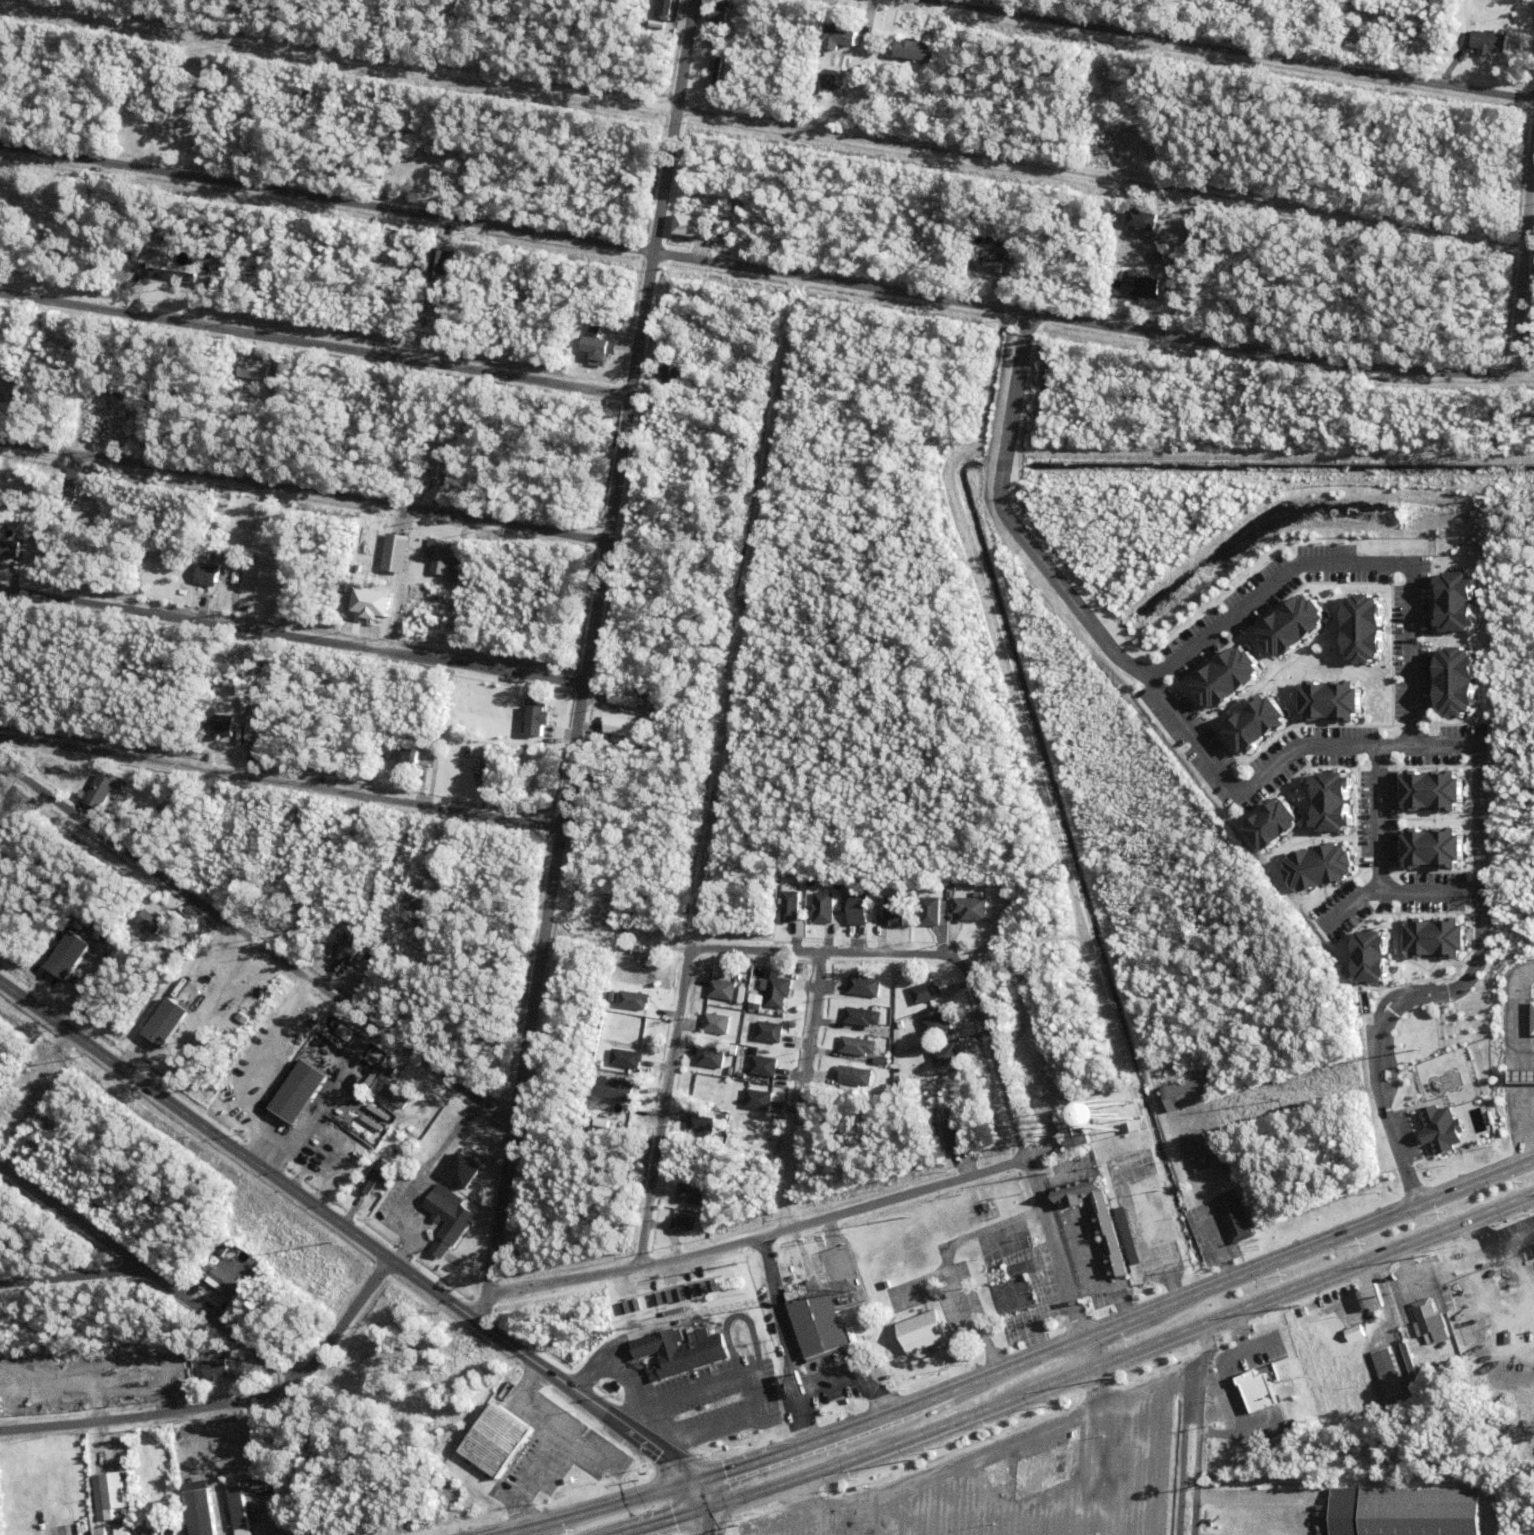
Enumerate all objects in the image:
building: (660, 1)
building: (407, 2)
building: (389, 5)
building: (428, 10)
building: (717, 12)
building: (924, 31)
building: (841, 35)
building: (1466, 38)
building: (1489, 42)
building: (1447, 46)
building: (915, 49)
road: (1230, 50)
building: (885, 59)
building: (716, 72)
building: (830, 79)
building: (302, 94)
building: (1133, 106)
building: (336, 110)
road: (771, 123)
building: (1136, 130)
building: (1111, 132)
building: (127, 137)
building: (1106, 141)
building: (390, 155)
building: (93, 189)
building: (104, 190)
building: (97, 209)
building: (1140, 219)
building: (687, 225)
building: (439, 237)
building: (1142, 239)
building: (320, 240)
building: (1000, 244)
building: (139, 248)
building: (412, 250)
building: (991, 260)
building: (436, 262)
building: (1116, 262)
building: (332, 271)
road: (765, 271)
building: (1147, 272)
building: (173, 275)
building: (989, 281)
building: (1137, 284)
road: (1527, 290)
building: (1003, 292)
building: (595, 342)
building: (61, 343)
road: (317, 345)
building: (254, 362)
building: (29, 368)
building: (675, 377)
building: (9, 381)
building: (389, 384)
building: (157, 412)
building: (1525, 421)
building: (126, 432)
building: (659, 458)
building: (441, 469)
building: (72, 484)
road: (306, 490)
building: (100, 493)
building: (7, 500)
building: (282, 511)
building: (100, 528)
building: (9, 548)
building: (279, 548)
building: (392, 553)
building: (442, 558)
road: (1307, 564)
building: (456, 570)
building: (205, 574)
building: (1454, 602)
building: (368, 603)
building: (1290, 626)
building: (1361, 629)
road: (294, 637)
road: (594, 649)
building: (1224, 677)
building: (1453, 681)
building: (624, 698)
building: (1329, 701)
building: (62, 715)
building: (538, 722)
building: (1253, 724)
building: (220, 726)
building: (619, 727)
building: (249, 733)
building: (218, 739)
building: (469, 752)
building: (414, 759)
building: (476, 764)
building: (487, 768)
road: (718, 774)
building: (491, 776)
building: (421, 782)
road: (282, 783)
building: (102, 790)
building: (1429, 791)
building: (0, 802)
building: (1330, 802)
building: (19, 809)
building: (344, 821)
building: (1270, 825)
building: (340, 838)
building: (1429, 849)
building: (403, 862)
building: (1316, 867)
building: (413, 871)
building: (251, 879)
building: (790, 908)
building: (824, 909)
building: (971, 910)
building: (859, 911)
building: (895, 912)
building: (931, 913)
building: (146, 920)
building: (604, 925)
building: (363, 935)
building: (165, 937)
building: (1432, 938)
road: (255, 944)
building: (347, 952)
building: (1367, 957)
building: (70, 958)
building: (325, 964)
road: (1470, 977)
building: (1001, 982)
building: (865, 987)
building: (723, 991)
building: (776, 992)
building: (927, 994)
building: (178, 999)
building: (632, 1000)
building: (1002, 1002)
building: (612, 1003)
building: (756, 1007)
building: (862, 1018)
building: (1532, 1018)
building: (1046, 1019)
building: (167, 1025)
building: (717, 1025)
building: (937, 1026)
building: (342, 1033)
building: (632, 1033)
building: (770, 1033)
road: (991, 1038)
building: (748, 1045)
building: (858, 1048)
building: (709, 1057)
building: (946, 1057)
building: (627, 1060)
building: (764, 1067)
building: (1458, 1075)
building: (855, 1077)
building: (898, 1082)
building: (830, 1083)
building: (614, 1089)
building: (295, 1093)
road: (805, 1095)
building: (1191, 1095)
building: (397, 1098)
building: (759, 1102)
building: (738, 1110)
building: (701, 1127)
building: (1439, 1129)
building: (365, 1132)
building: (1074, 1132)
building: (949, 1134)
building: (1114, 1141)
building: (335, 1149)
building: (1227, 1153)
building: (1200, 1154)
building: (1134, 1166)
building: (1108, 1167)
building: (459, 1168)
building: (1114, 1169)
building: (1154, 1169)
building: (440, 1172)
building: (375, 1179)
building: (434, 1179)
building: (422, 1195)
building: (690, 1195)
building: (1116, 1195)
building: (357, 1200)
building: (368, 1204)
building: (449, 1217)
building: (1236, 1218)
building: (683, 1227)
building: (1106, 1230)
road: (352, 1233)
road: (761, 1242)
building: (436, 1247)
building: (1129, 1248)
building: (223, 1249)
building: (252, 1271)
road: (149, 1274)
building: (225, 1277)
road: (74, 1278)
building: (729, 1279)
building: (711, 1286)
building: (886, 1287)
building: (1014, 1288)
building: (701, 1289)
building: (690, 1292)
building: (679, 1295)
building: (667, 1297)
building: (657, 1300)
building: (241, 1303)
building: (634, 1305)
building: (624, 1308)
building: (674, 1311)
road: (487, 1314)
building: (815, 1319)
road: (344, 1321)
building: (623, 1321)
building: (1430, 1325)
building: (1455, 1330)
building: (921, 1331)
building: (1355, 1336)
building: (227, 1352)
building: (678, 1352)
road: (1223, 1352)
road: (1022, 1362)
building: (216, 1371)
building: (1413, 1373)
building: (1388, 1374)
road: (1091, 1376)
building: (1254, 1390)
road: (152, 1417)
building: (493, 1439)
building: (182, 1446)
building: (121, 1454)
building: (126, 1476)
parking lot: (1020, 1480)
building: (12, 1489)
building: (110, 1497)
building: (245, 1502)
road: (711, 1508)
building: (1404, 1512)
building: (202, 1514)
building: (82, 1515)
building: (74, 1530)
building: (156, 1530)
building: (122, 1531)
building: (100, 1532)
building: (148, 1534)
building: (266, 1534)

